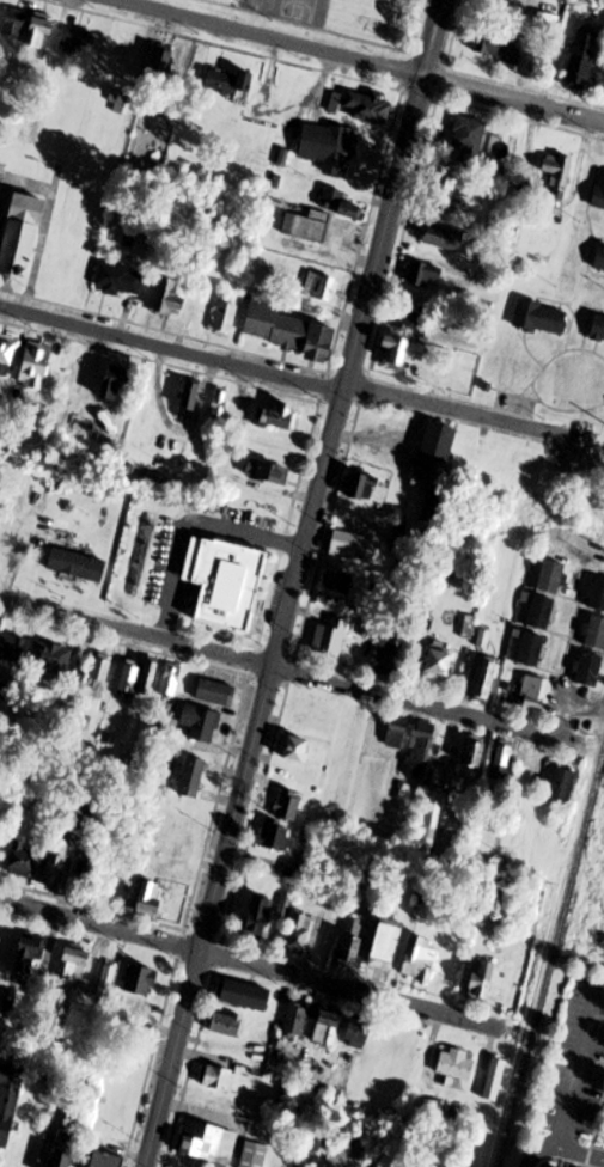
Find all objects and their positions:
park: (258, 5)
park: (299, 8)
building: (16, 24)
building: (41, 31)
building: (80, 43)
building: (495, 47)
building: (114, 56)
road: (364, 61)
building: (582, 61)
building: (163, 67)
building: (231, 83)
building: (370, 108)
building: (469, 143)
building: (329, 147)
building: (557, 173)
building: (459, 191)
building: (600, 193)
building: (340, 204)
building: (309, 226)
building: (24, 237)
building: (445, 238)
building: (600, 259)
building: (425, 275)
building: (121, 280)
building: (319, 287)
building: (171, 299)
building: (225, 318)
building: (542, 318)
building: (417, 319)
building: (288, 331)
building: (598, 331)
road: (172, 343)
building: (402, 353)
building: (7, 354)
building: (37, 365)
building: (118, 381)
building: (190, 401)
building: (219, 403)
building: (281, 416)
road: (464, 417)
building: (434, 464)
building: (268, 471)
building: (364, 485)
building: (255, 524)
road: (193, 527)
building: (353, 545)
building: (78, 563)
building: (237, 569)
building: (553, 575)
building: (338, 581)
building: (152, 583)
road: (295, 583)
building: (597, 593)
building: (219, 612)
building: (542, 612)
building: (0, 628)
road: (138, 630)
building: (596, 631)
building: (13, 647)
building: (532, 649)
building: (51, 656)
building: (390, 659)
building: (439, 662)
building: (590, 670)
building: (99, 677)
building: (150, 678)
building: (171, 679)
building: (487, 679)
building: (129, 682)
building: (216, 692)
building: (533, 692)
road: (427, 704)
building: (307, 709)
building: (202, 722)
building: (397, 732)
building: (420, 749)
building: (297, 750)
building: (474, 759)
building: (502, 762)
building: (193, 777)
building: (562, 784)
building: (289, 805)
building: (432, 817)
building: (276, 835)
building: (189, 845)
building: (59, 859)
building: (23, 860)
building: (294, 869)
building: (173, 870)
building: (150, 899)
building: (179, 908)
building: (257, 916)
building: (300, 931)
building: (2, 933)
building: (354, 941)
building: (388, 943)
building: (30, 954)
building: (421, 959)
road: (251, 960)
railway: (551, 961)
building: (74, 964)
building: (482, 979)
building: (141, 980)
building: (248, 995)
building: (297, 1019)
building: (227, 1025)
building: (328, 1027)
building: (359, 1033)
road: (591, 1064)
road: (575, 1069)
building: (48, 1070)
building: (456, 1070)
building: (216, 1077)
building: (495, 1079)
building: (8, 1100)
building: (209, 1142)
building: (65, 1149)
road: (539, 1151)
road: (582, 1153)
building: (255, 1155)
building: (108, 1160)

